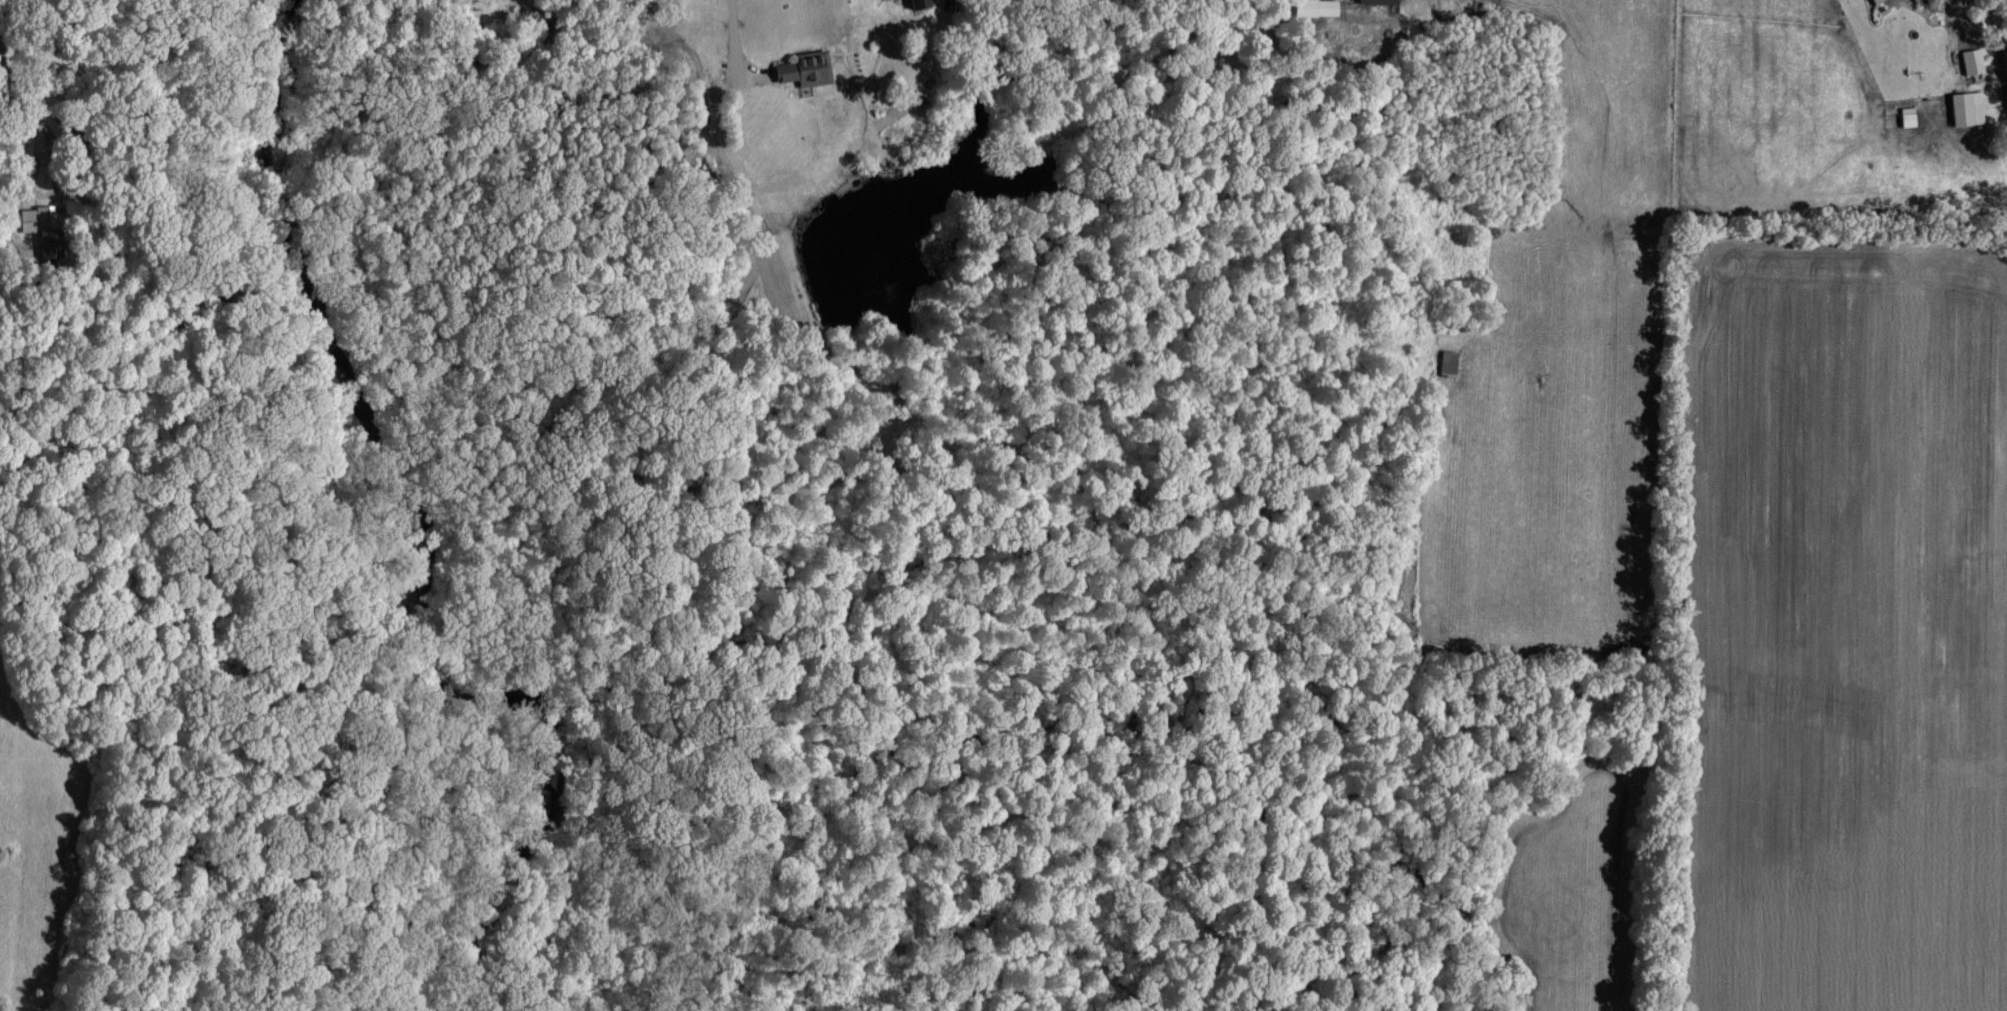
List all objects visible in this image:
building: (1382, 1)
building: (1869, 1)
building: (922, 3)
road: (732, 35)
road: (1997, 46)
building: (1968, 60)
building: (809, 68)
building: (1962, 107)
building: (1903, 116)
road: (17, 128)
building: (44, 227)
building: (1450, 361)

